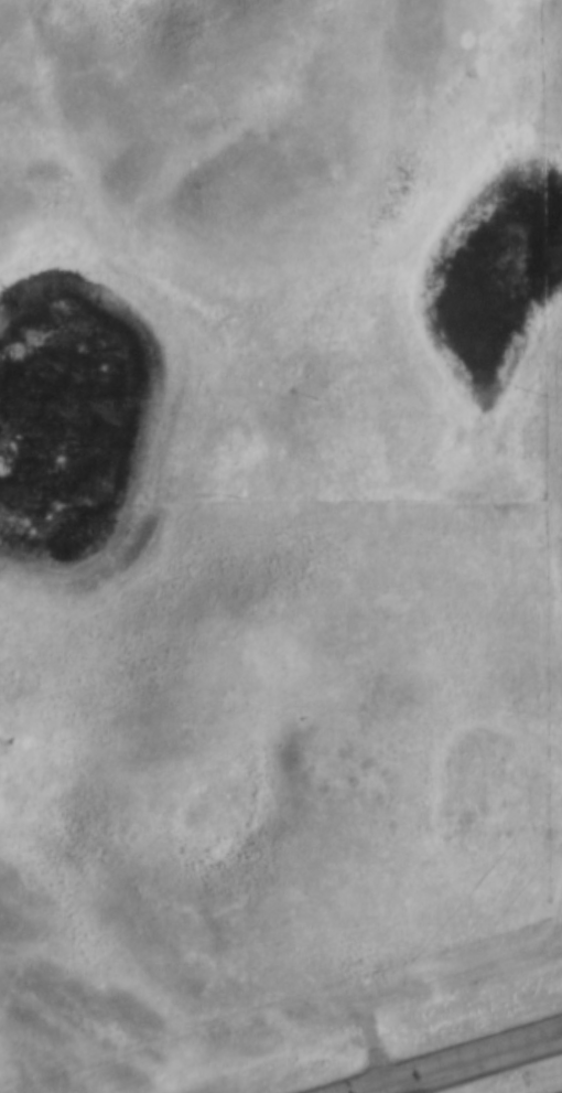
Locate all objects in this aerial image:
road: (465, 1064)
road: (385, 1091)

